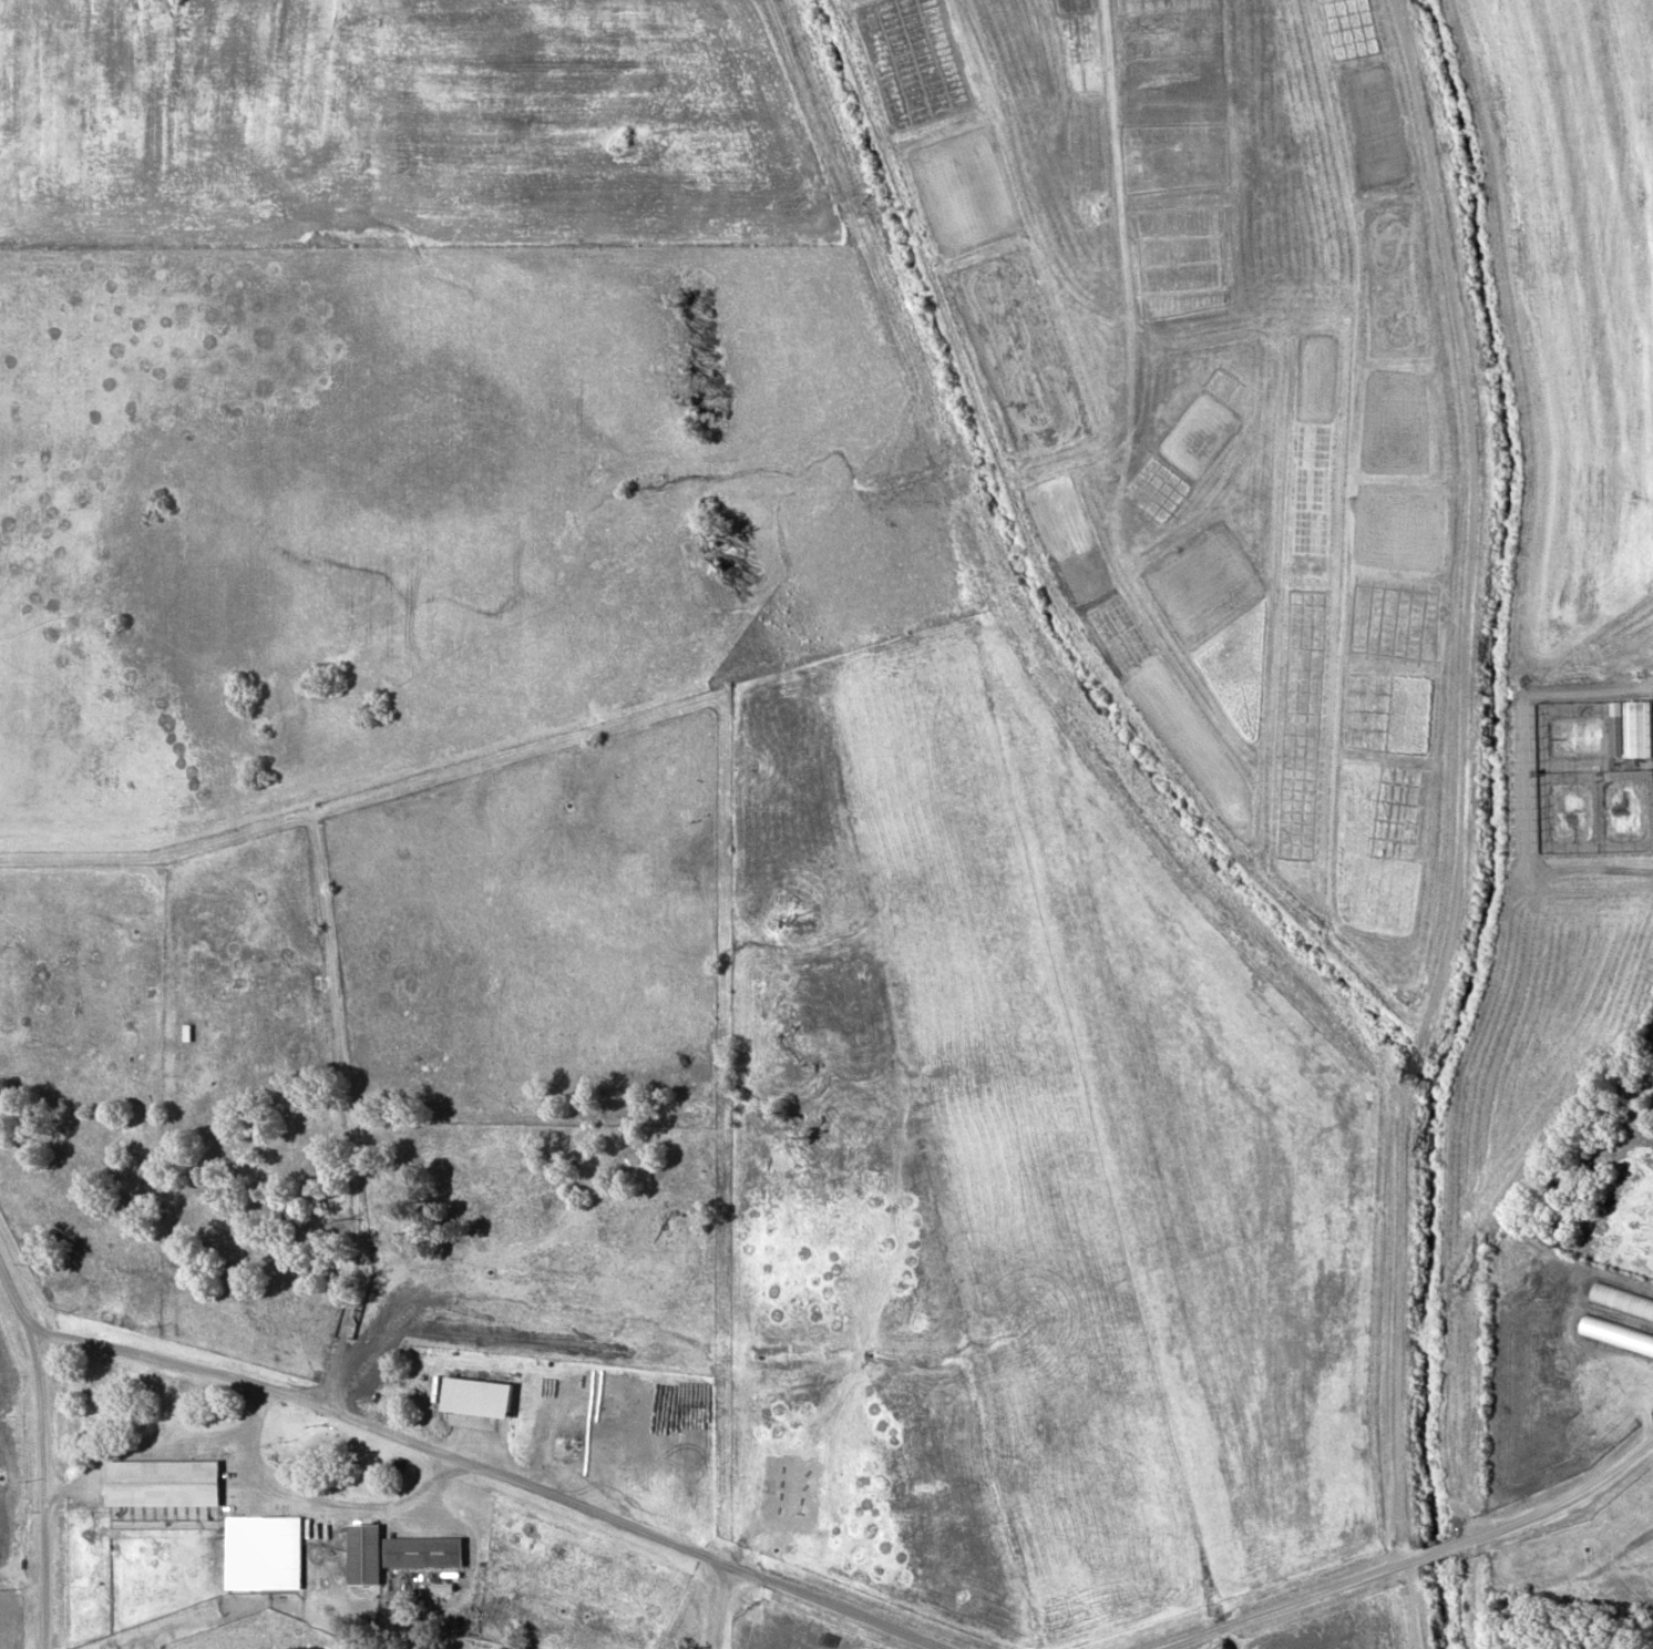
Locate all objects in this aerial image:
building: (1382, 324)
building: (1637, 727)
road: (1464, 824)
building: (1620, 1298)
building: (1615, 1332)
building: (474, 1394)
building: (595, 1425)
road: (453, 1457)
building: (160, 1479)
road: (38, 1489)
building: (261, 1547)
building: (421, 1549)
building: (362, 1551)
road: (1424, 1561)
road: (729, 1611)

